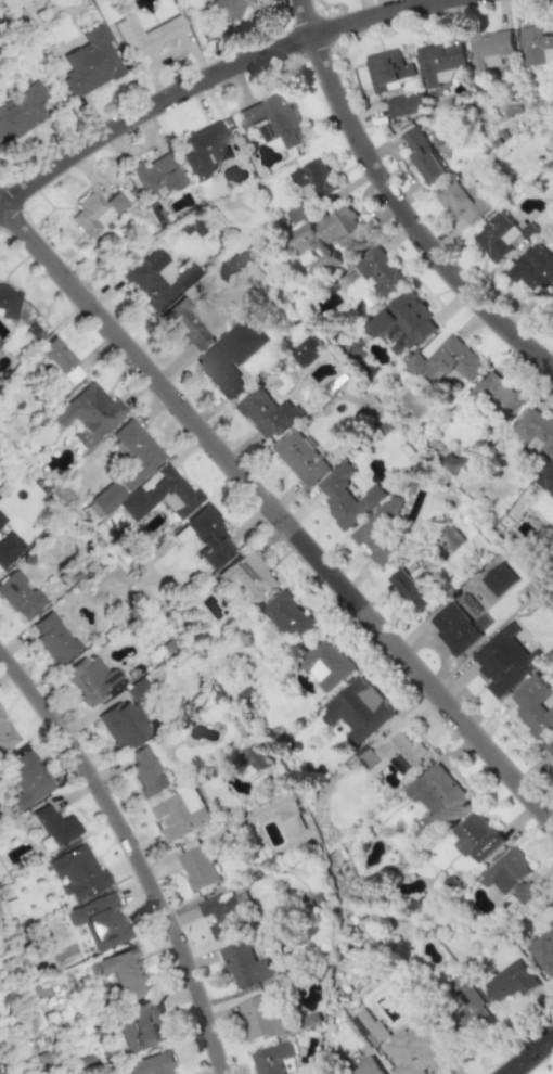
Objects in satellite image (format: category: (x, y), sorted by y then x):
building: (229, 7)
building: (146, 36)
building: (537, 46)
building: (491, 49)
building: (90, 63)
building: (440, 63)
building: (387, 69)
road: (203, 75)
building: (406, 104)
building: (21, 111)
building: (273, 120)
building: (205, 151)
building: (155, 177)
building: (313, 180)
road: (398, 200)
building: (465, 200)
building: (116, 202)
building: (156, 213)
building: (91, 214)
building: (296, 214)
building: (329, 236)
building: (497, 236)
building: (533, 269)
building: (378, 271)
building: (152, 280)
building: (9, 302)
building: (403, 323)
building: (185, 327)
building: (307, 351)
building: (231, 357)
building: (59, 359)
building: (450, 361)
building: (415, 363)
building: (493, 397)
building: (266, 412)
building: (88, 413)
building: (536, 432)
building: (133, 452)
building: (300, 458)
building: (546, 478)
building: (160, 495)
building: (347, 497)
building: (104, 499)
road: (276, 514)
building: (1, 520)
building: (378, 532)
building: (209, 537)
building: (450, 538)
building: (9, 548)
building: (247, 578)
building: (499, 579)
building: (412, 589)
building: (18, 596)
building: (286, 615)
building: (454, 628)
building: (53, 638)
building: (506, 660)
building: (326, 664)
building: (91, 680)
building: (533, 705)
building: (358, 707)
building: (126, 717)
building: (7, 734)
building: (550, 747)
building: (393, 754)
building: (258, 757)
building: (146, 772)
building: (25, 779)
building: (436, 797)
building: (180, 813)
building: (55, 824)
building: (478, 835)
road: (130, 852)
building: (198, 868)
building: (77, 872)
building: (510, 875)
building: (223, 913)
building: (101, 920)
building: (543, 949)
building: (247, 966)
building: (510, 982)
building: (465, 1000)
building: (259, 1018)
building: (139, 1025)
building: (369, 1026)
building: (413, 1049)
road: (527, 1052)
building: (271, 1058)
building: (151, 1064)
park: (541, 1064)
building: (369, 1067)

